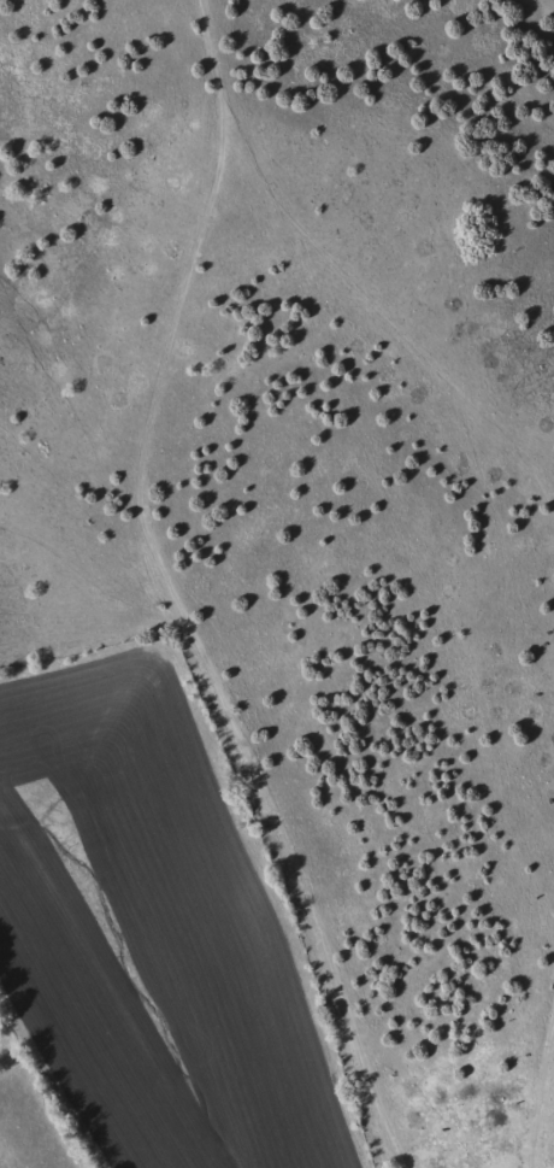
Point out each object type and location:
road: (521, 1052)

